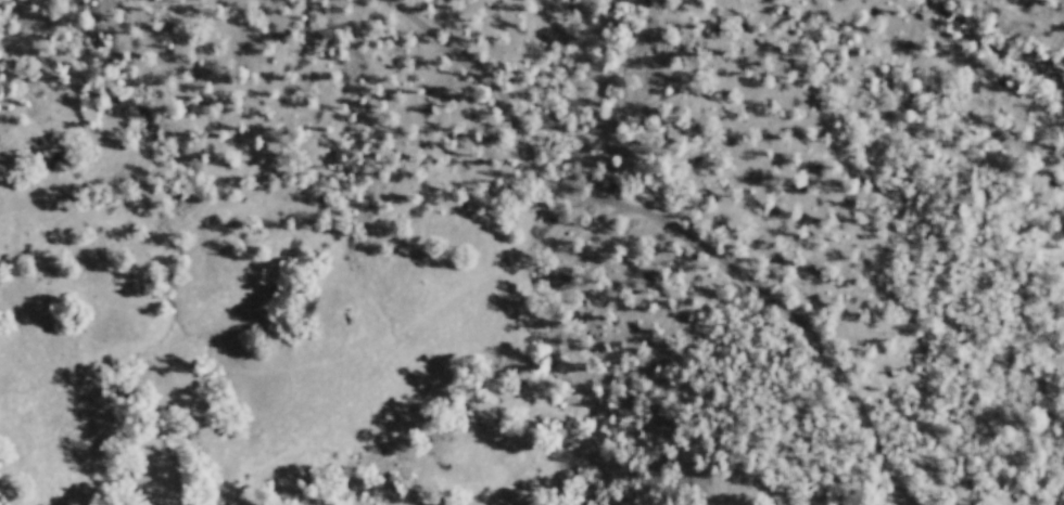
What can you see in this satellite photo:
road: (664, 223)

